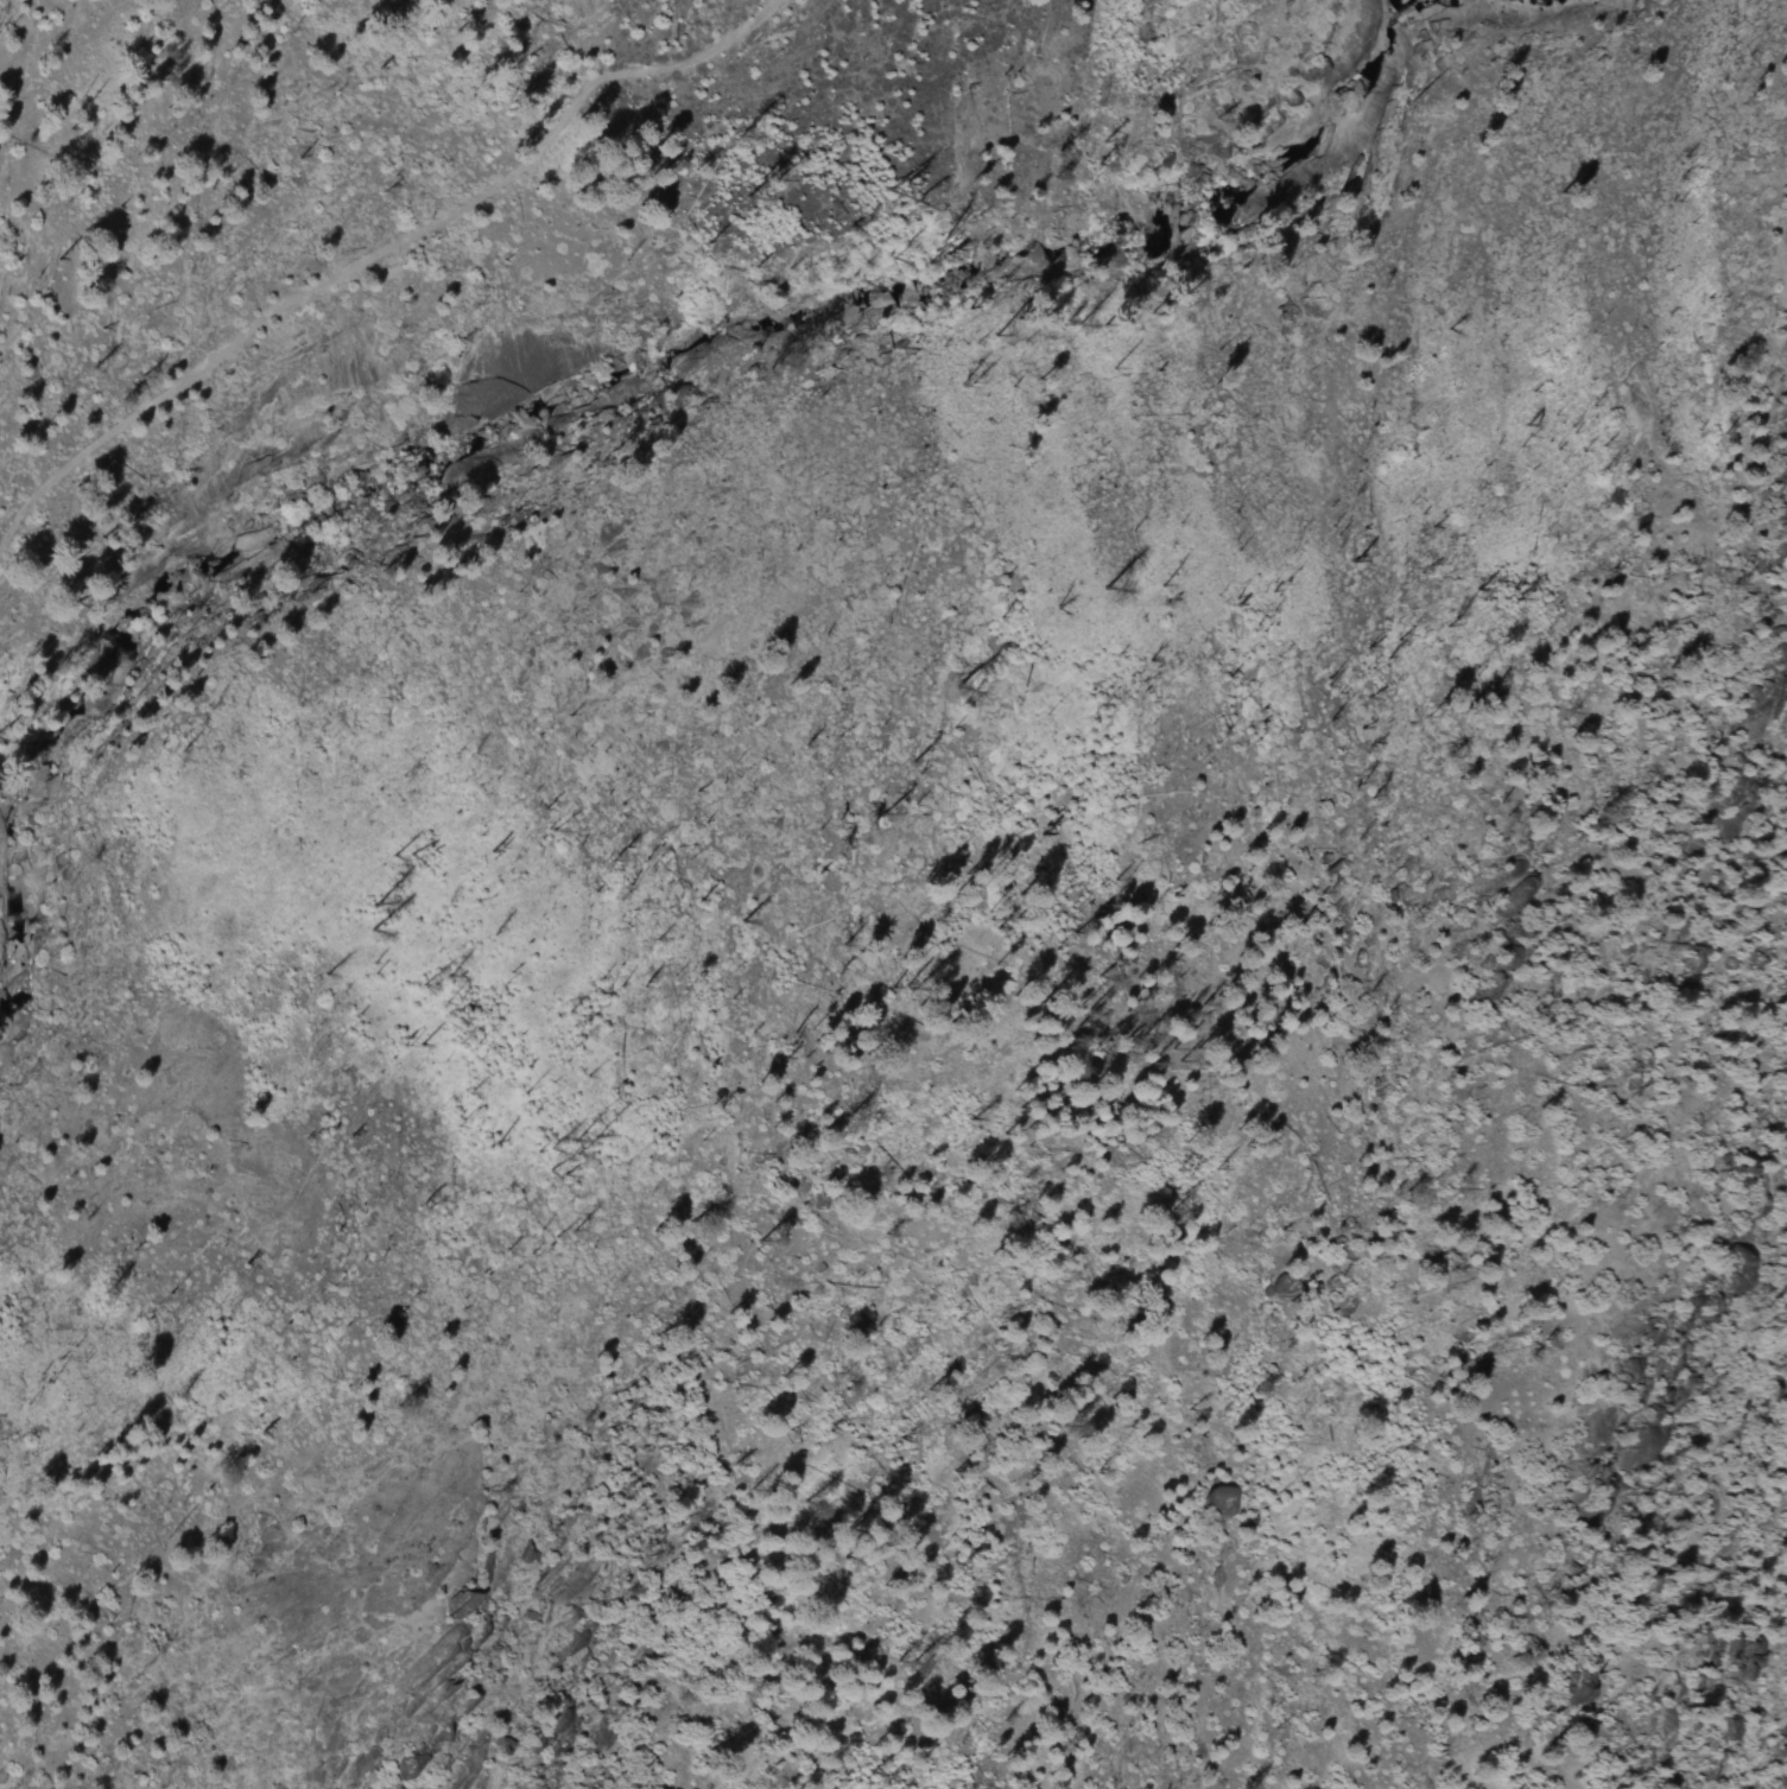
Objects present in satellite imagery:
road: (1767, 233)
river: (685, 363)

